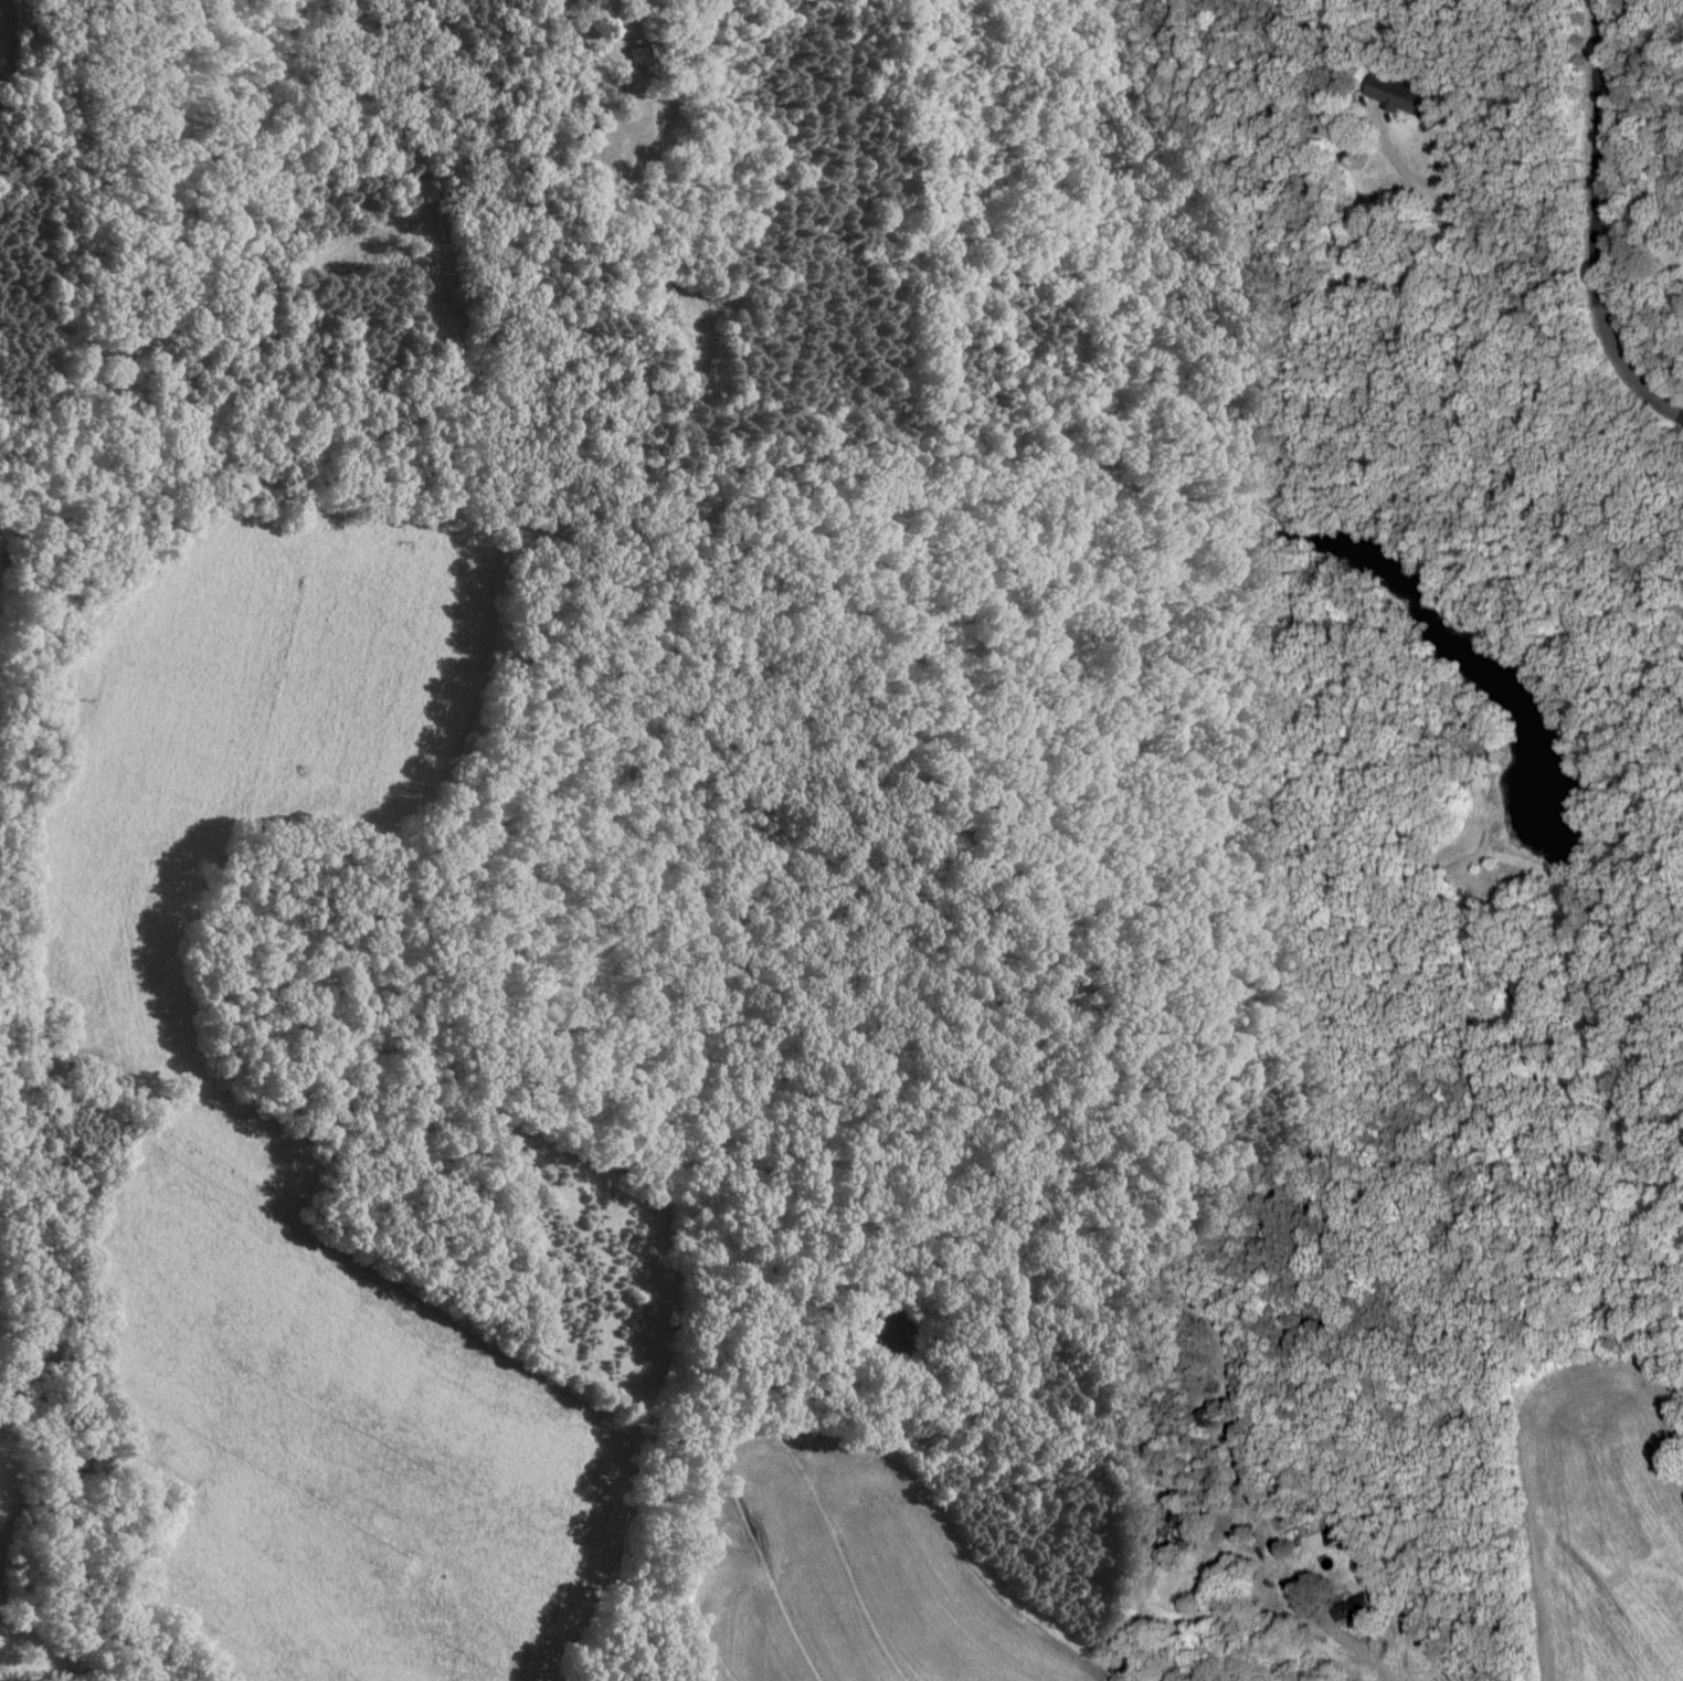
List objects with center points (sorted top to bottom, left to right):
building: (639, 57)
building: (1398, 96)
road: (1436, 120)
building: (588, 136)
road: (1578, 222)
building: (1204, 1421)
building: (1183, 1530)
building: (1330, 1540)
road: (1278, 1593)
building: (1349, 1611)

